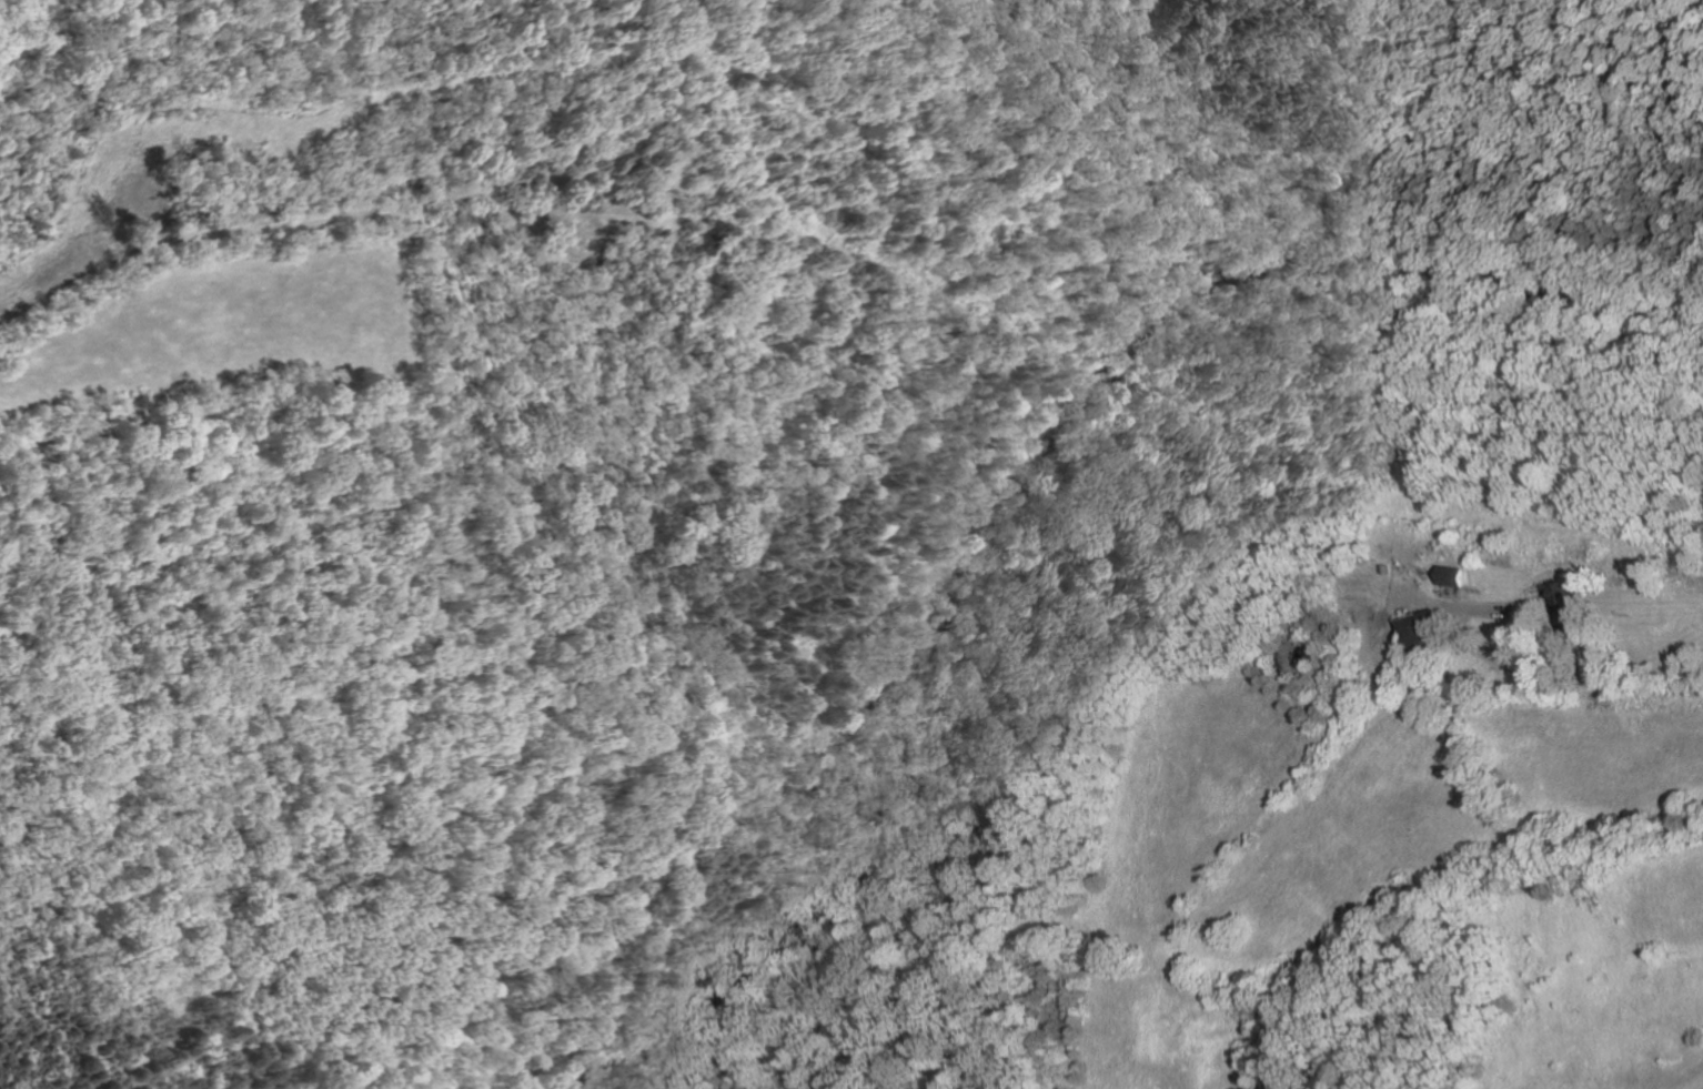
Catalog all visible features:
road: (371, 101)
road: (416, 206)
road: (189, 236)
building: (698, 239)
building: (1392, 568)
building: (1458, 575)
road: (1461, 596)
road: (1535, 598)
road: (1494, 602)
road: (1554, 604)
building: (1572, 604)
road: (1489, 611)
building: (1423, 634)
road: (1542, 675)

